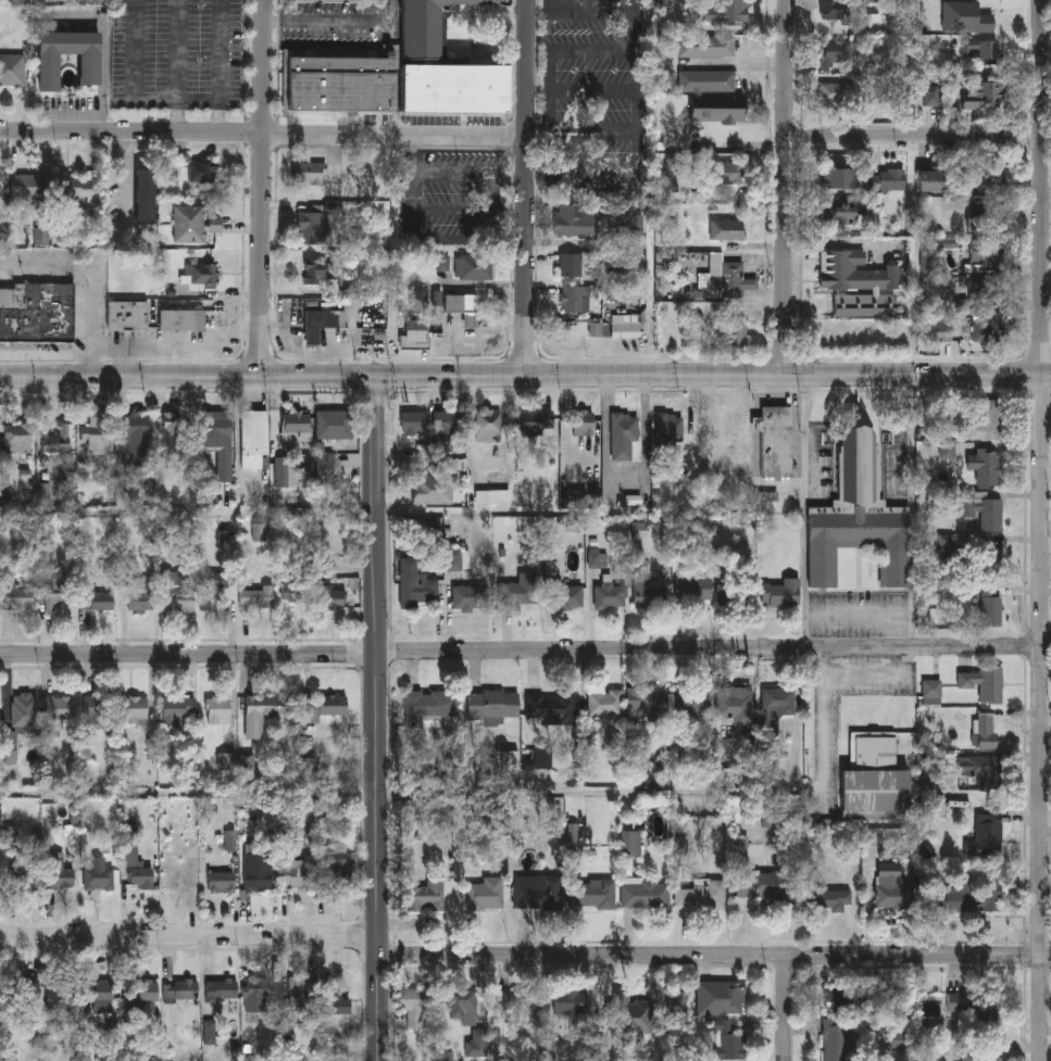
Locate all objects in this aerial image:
road: (536, 0)
building: (834, 9)
building: (728, 12)
building: (962, 18)
parking lot: (337, 30)
road: (387, 35)
building: (705, 47)
building: (983, 49)
road: (136, 51)
building: (836, 52)
parking lot: (179, 55)
building: (902, 62)
road: (747, 63)
road: (221, 67)
building: (48, 68)
road: (179, 68)
building: (12, 70)
parking lot: (593, 70)
building: (402, 72)
road: (104, 79)
building: (705, 81)
building: (838, 93)
building: (928, 93)
building: (983, 94)
road: (177, 103)
building: (716, 109)
road: (58, 115)
road: (639, 123)
road: (915, 135)
road: (261, 137)
building: (202, 173)
building: (311, 174)
road: (453, 175)
building: (583, 176)
building: (727, 176)
building: (988, 176)
building: (839, 177)
road: (129, 179)
building: (935, 179)
building: (887, 180)
building: (27, 187)
building: (78, 188)
road: (262, 188)
road: (521, 188)
road: (781, 188)
building: (145, 197)
parking lot: (454, 200)
road: (468, 213)
building: (837, 213)
building: (986, 216)
building: (193, 225)
building: (313, 229)
building: (575, 230)
building: (726, 230)
road: (1043, 235)
road: (435, 240)
road: (837, 244)
building: (985, 251)
building: (570, 266)
building: (475, 269)
building: (853, 271)
building: (318, 273)
building: (203, 275)
road: (88, 277)
building: (728, 280)
building: (986, 289)
building: (573, 299)
building: (461, 305)
building: (864, 305)
building: (37, 315)
building: (128, 316)
building: (182, 320)
building: (318, 326)
building: (575, 327)
building: (625, 327)
building: (988, 328)
road: (246, 331)
building: (729, 334)
building: (417, 336)
road: (182, 348)
road: (1036, 355)
road: (258, 358)
road: (781, 358)
road: (913, 358)
road: (523, 359)
road: (650, 359)
road: (390, 361)
road: (120, 362)
road: (207, 362)
road: (127, 363)
road: (174, 363)
road: (129, 377)
traffic signals: (377, 377)
road: (390, 377)
road: (786, 377)
road: (710, 391)
road: (1036, 392)
road: (177, 393)
road: (375, 394)
building: (414, 421)
building: (986, 421)
building: (449, 422)
building: (583, 422)
building: (539, 425)
building: (330, 426)
building: (488, 426)
building: (173, 429)
building: (293, 429)
building: (624, 434)
building: (668, 434)
building: (96, 435)
building: (14, 439)
building: (135, 439)
building: (251, 440)
building: (54, 441)
building: (213, 441)
building: (773, 442)
building: (988, 467)
building: (283, 472)
building: (434, 490)
road: (915, 510)
road: (809, 511)
building: (985, 511)
road: (188, 514)
building: (859, 517)
road: (1036, 530)
building: (993, 555)
building: (416, 585)
building: (211, 586)
building: (647, 591)
building: (695, 591)
building: (59, 592)
building: (297, 592)
building: (520, 593)
building: (780, 593)
building: (137, 594)
building: (175, 594)
building: (562, 594)
building: (610, 594)
building: (17, 595)
building: (734, 595)
building: (257, 596)
building: (98, 598)
building: (471, 598)
building: (335, 599)
building: (990, 605)
parking lot: (861, 616)
road: (862, 616)
road: (706, 647)
road: (189, 653)
road: (883, 680)
building: (983, 683)
building: (931, 694)
building: (649, 698)
building: (779, 702)
building: (325, 704)
building: (604, 704)
building: (492, 705)
building: (695, 705)
building: (734, 705)
building: (216, 706)
building: (550, 706)
building: (429, 707)
building: (58, 709)
building: (136, 710)
building: (98, 711)
building: (175, 711)
building: (263, 711)
building: (24, 712)
road: (378, 719)
building: (984, 730)
road: (823, 738)
parking lot: (828, 763)
building: (985, 772)
building: (874, 780)
road: (189, 793)
building: (934, 796)
building: (986, 836)
building: (631, 854)
building: (135, 859)
building: (337, 868)
building: (259, 870)
building: (22, 871)
building: (297, 871)
building: (58, 872)
building: (0, 874)
building: (98, 877)
building: (222, 881)
building: (760, 886)
building: (537, 892)
building: (894, 894)
building: (484, 895)
building: (591, 895)
building: (642, 895)
building: (699, 895)
building: (424, 896)
building: (990, 897)
building: (827, 899)
building: (948, 901)
road: (189, 934)
road: (714, 955)
building: (22, 986)
building: (101, 989)
building: (147, 989)
building: (182, 990)
building: (303, 990)
building: (257, 994)
building: (222, 995)
building: (334, 998)
building: (718, 998)
building: (516, 1000)
building: (842, 1000)
building: (568, 1002)
building: (460, 1003)
building: (975, 1003)
building: (414, 1005)
road: (786, 1008)
building: (627, 1009)
building: (892, 1020)
building: (726, 1040)
building: (836, 1043)
building: (477, 1051)
building: (977, 1056)

